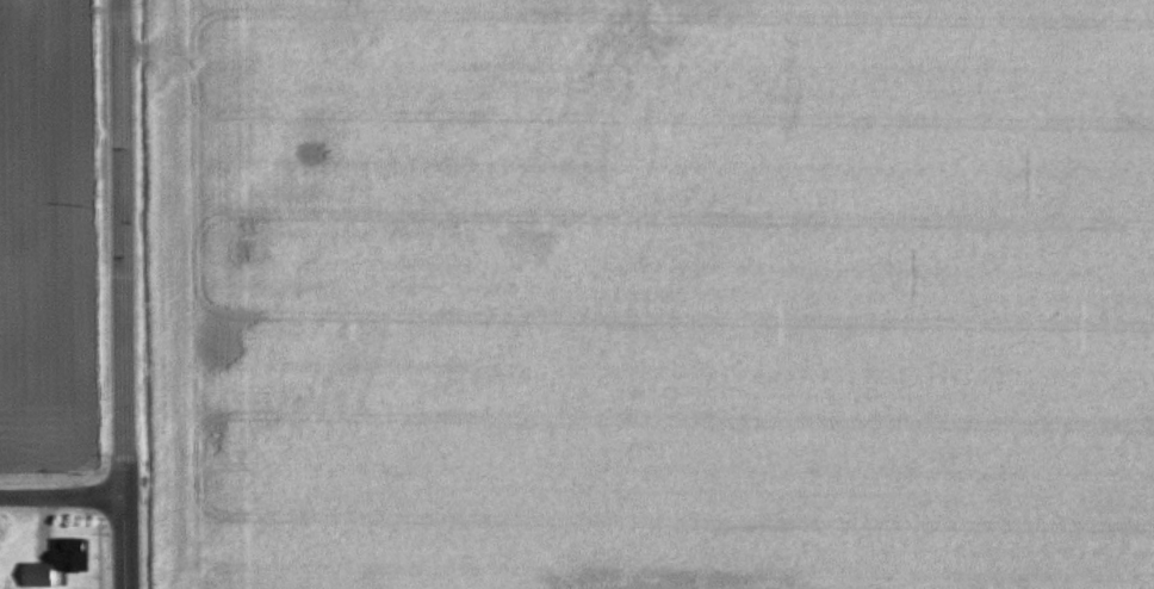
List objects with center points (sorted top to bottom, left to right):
road: (123, 248)
road: (63, 497)
road: (128, 542)
building: (62, 564)

